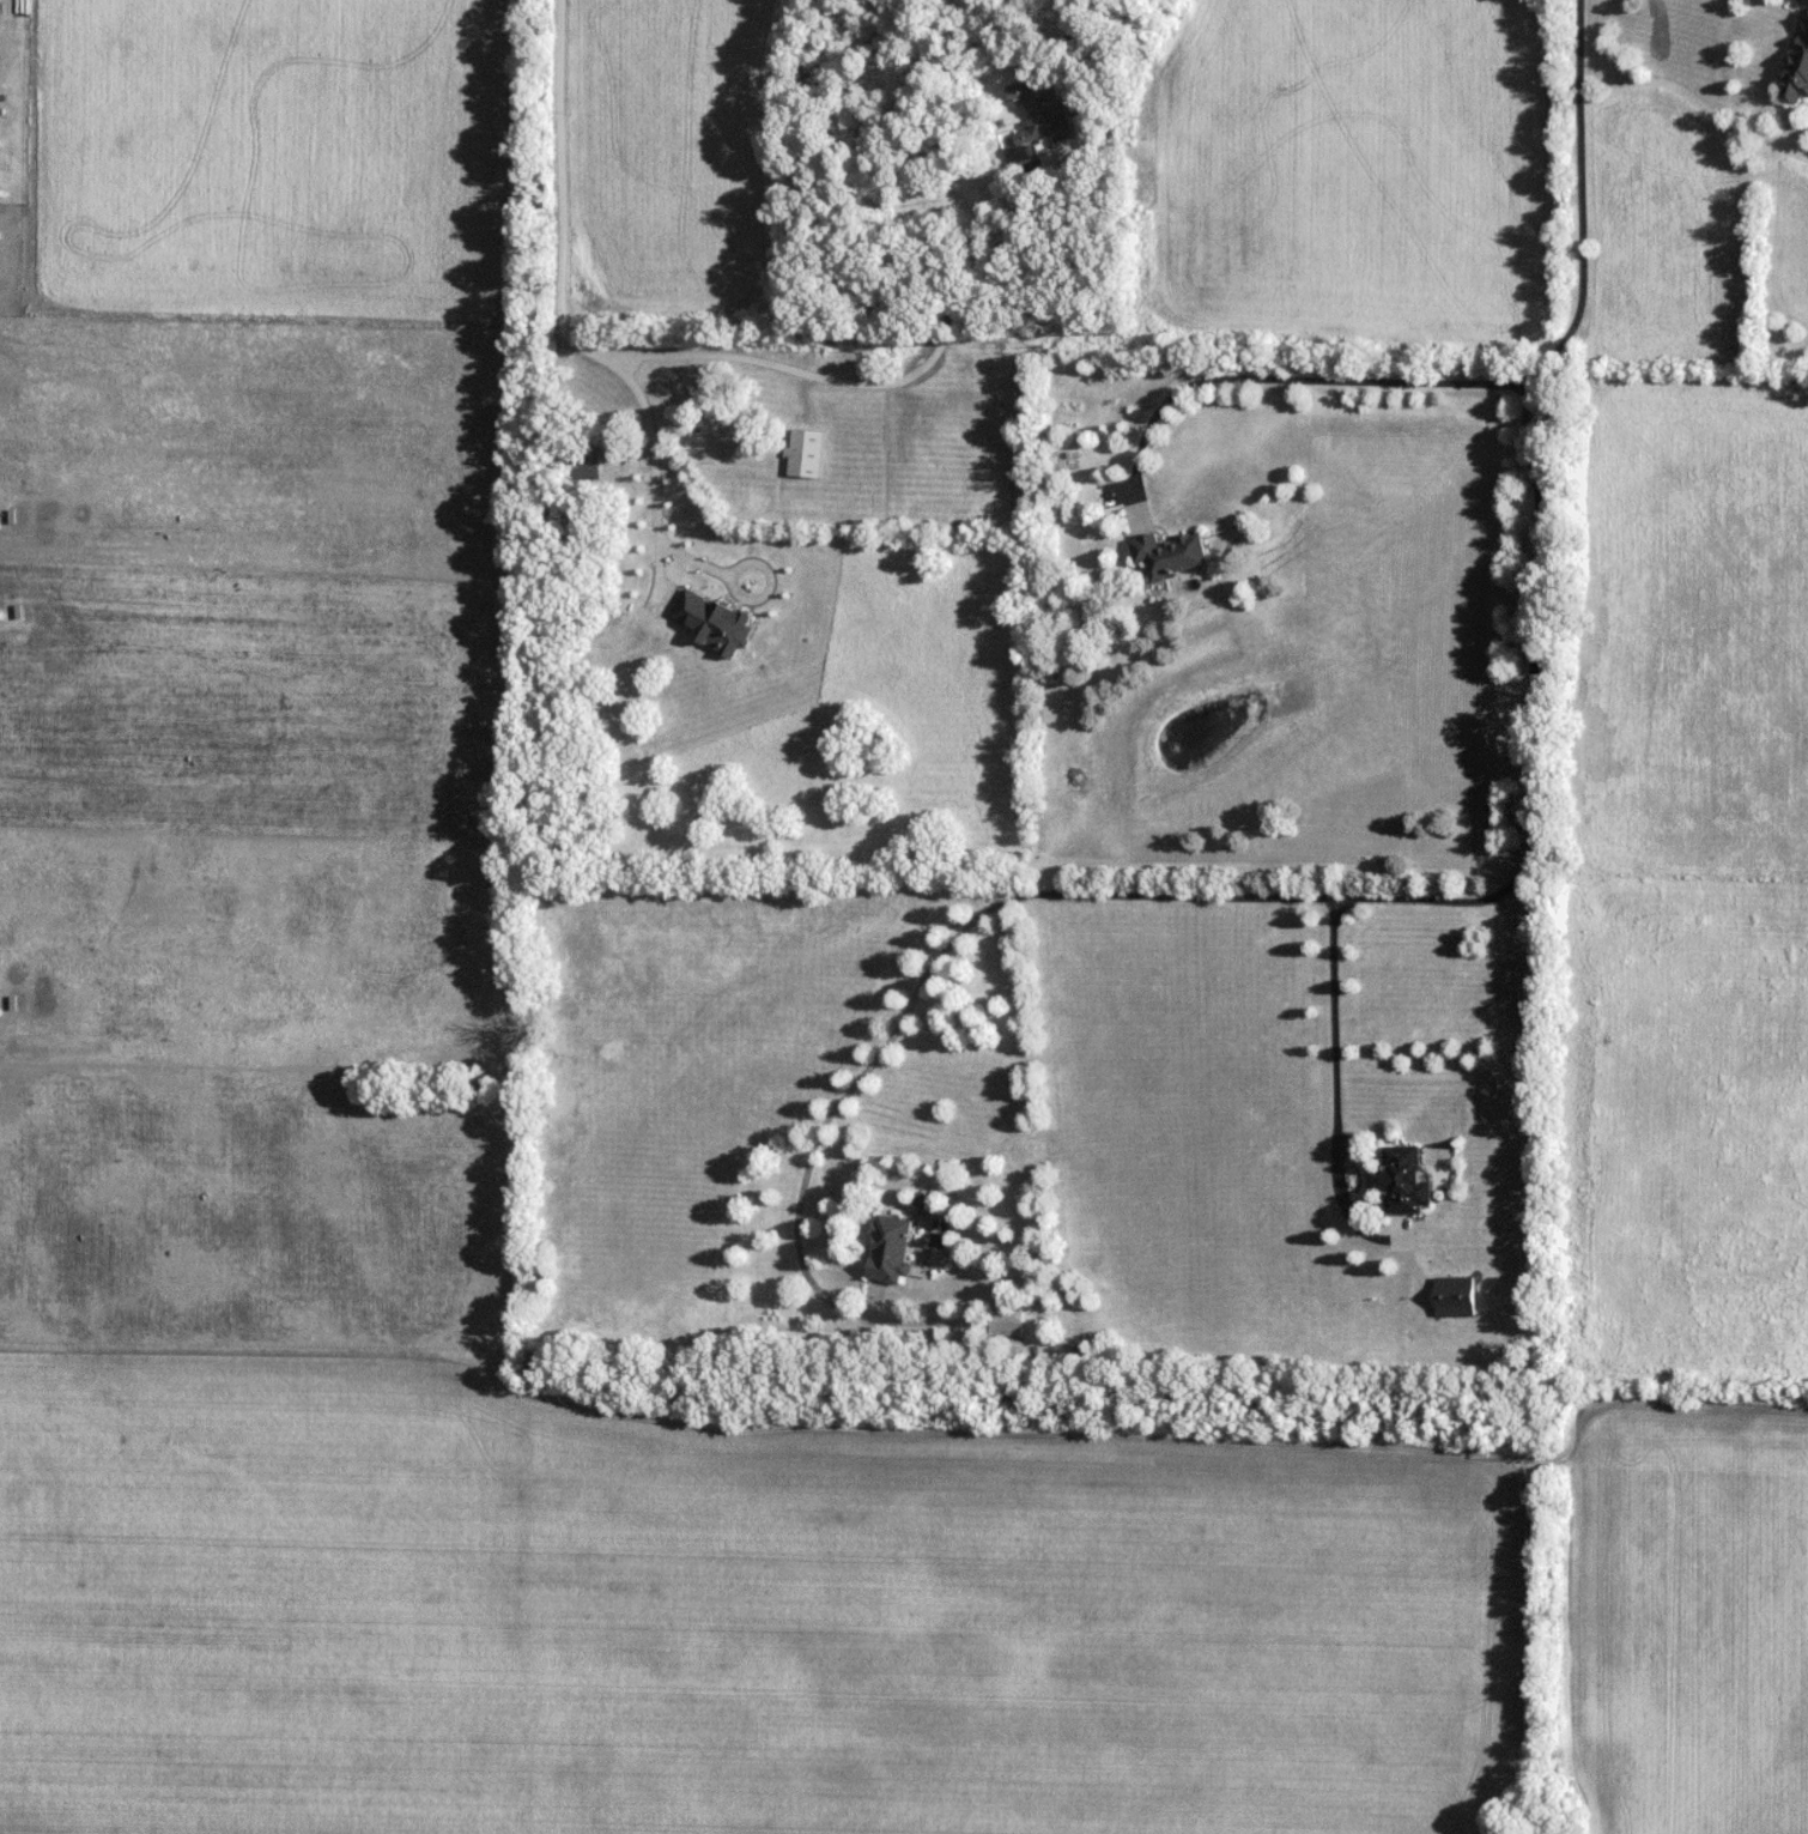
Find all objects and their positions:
building: (1806, 18)
building: (1800, 74)
building: (1044, 110)
road: (560, 186)
road: (910, 375)
road: (1280, 377)
building: (806, 453)
road: (654, 464)
building: (586, 465)
building: (1175, 553)
road: (1458, 900)
road: (1335, 1088)
building: (1407, 1181)
building: (892, 1248)
building: (1455, 1296)
building: (1008, 1322)

